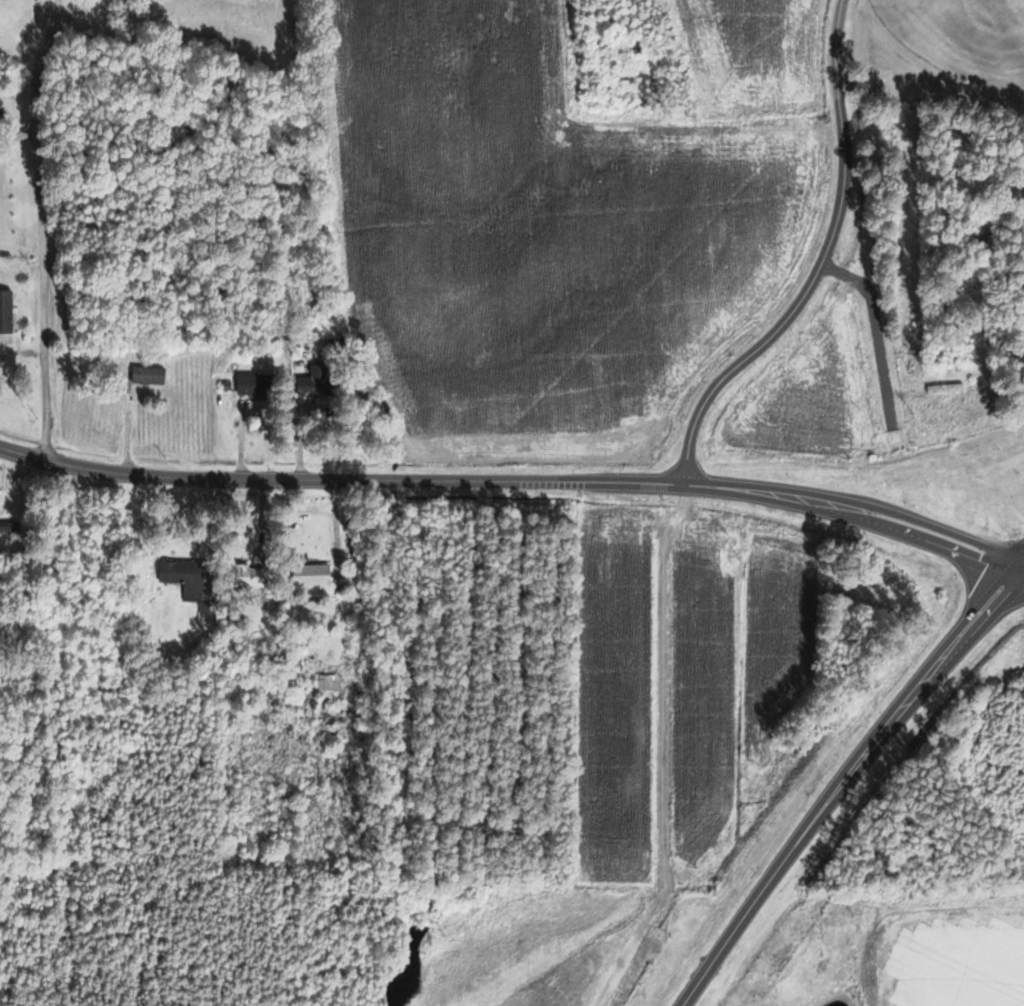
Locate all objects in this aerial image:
park: (965, 131)
road: (43, 229)
road: (817, 261)
building: (5, 312)
building: (147, 375)
building: (311, 381)
building: (251, 384)
road: (422, 480)
building: (8, 524)
road: (937, 527)
road: (933, 542)
building: (937, 557)
building: (309, 575)
building: (244, 576)
building: (182, 577)
building: (294, 692)
building: (327, 698)
road: (905, 703)
road: (737, 926)

